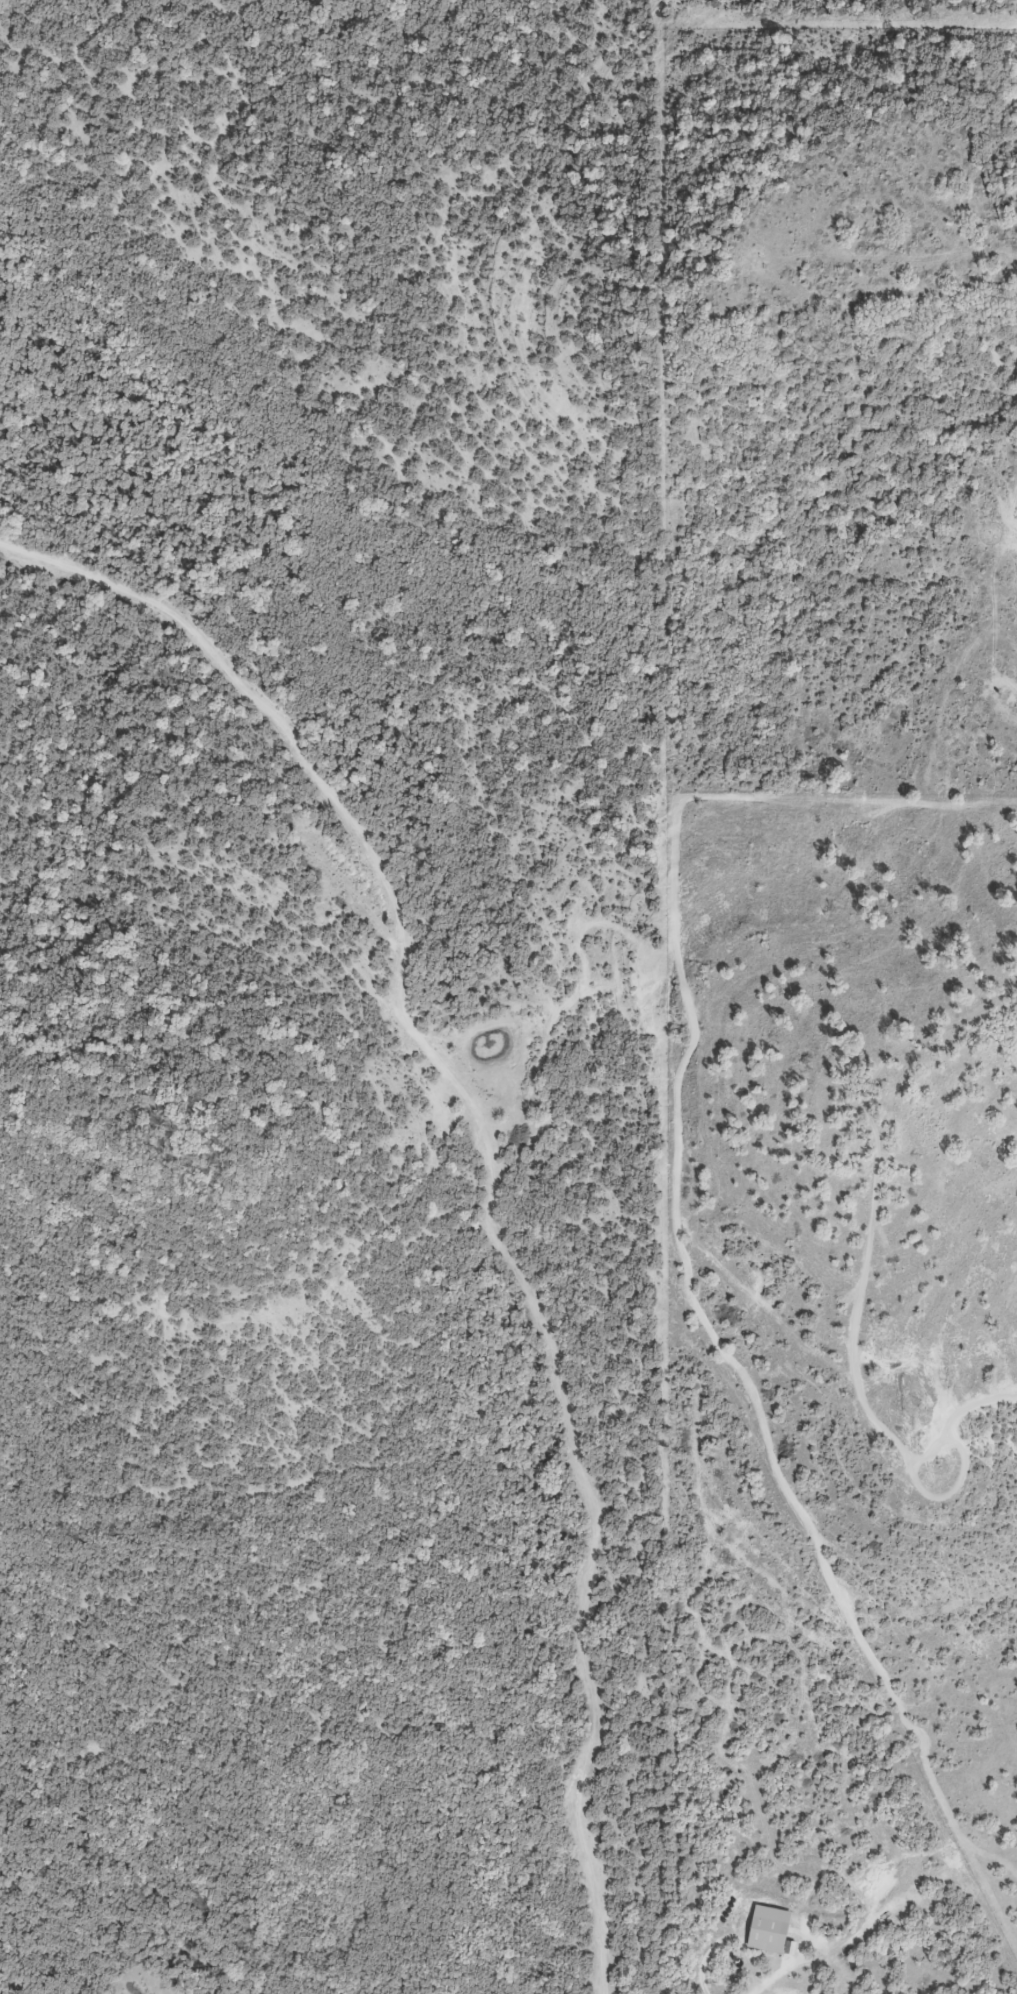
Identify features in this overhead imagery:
building: (769, 1929)
road: (815, 1955)
building: (784, 1992)

